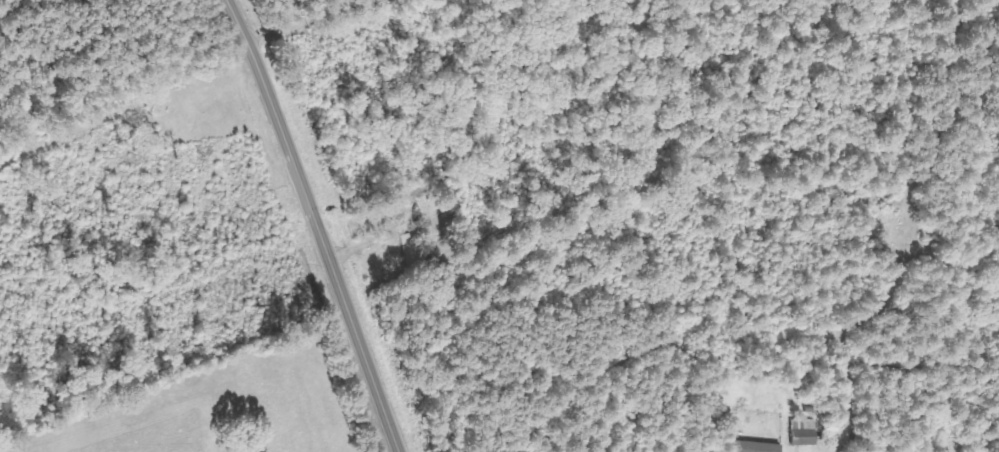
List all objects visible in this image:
road: (316, 226)
building: (755, 447)

